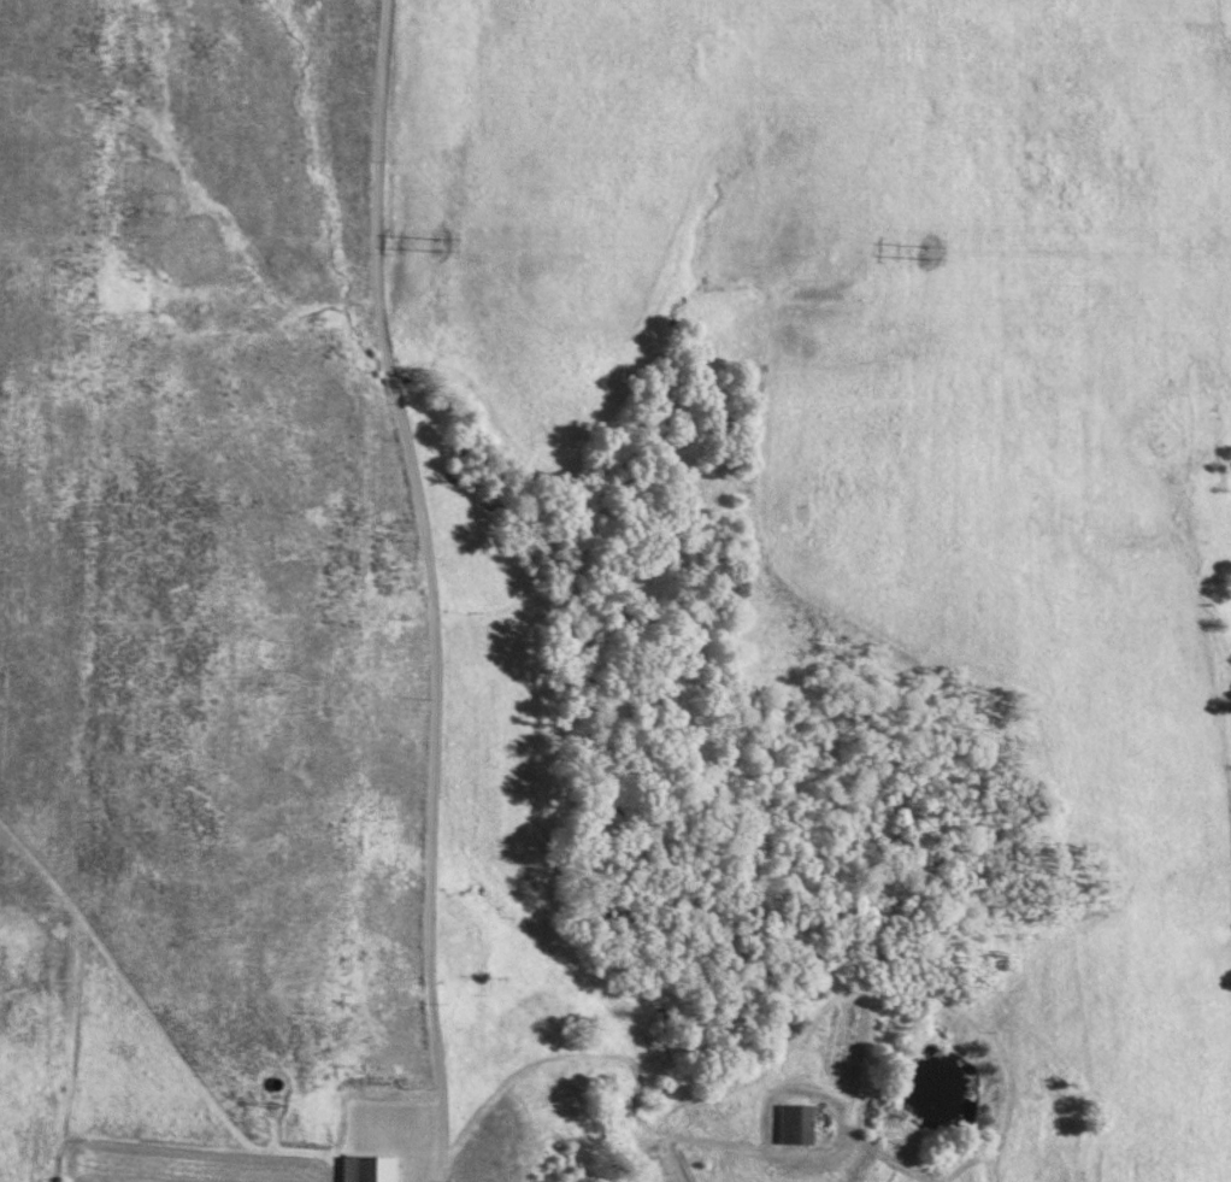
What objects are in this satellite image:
power tower: (438, 240)
power tower: (923, 249)
road: (430, 588)
building: (793, 1127)
building: (363, 1170)

